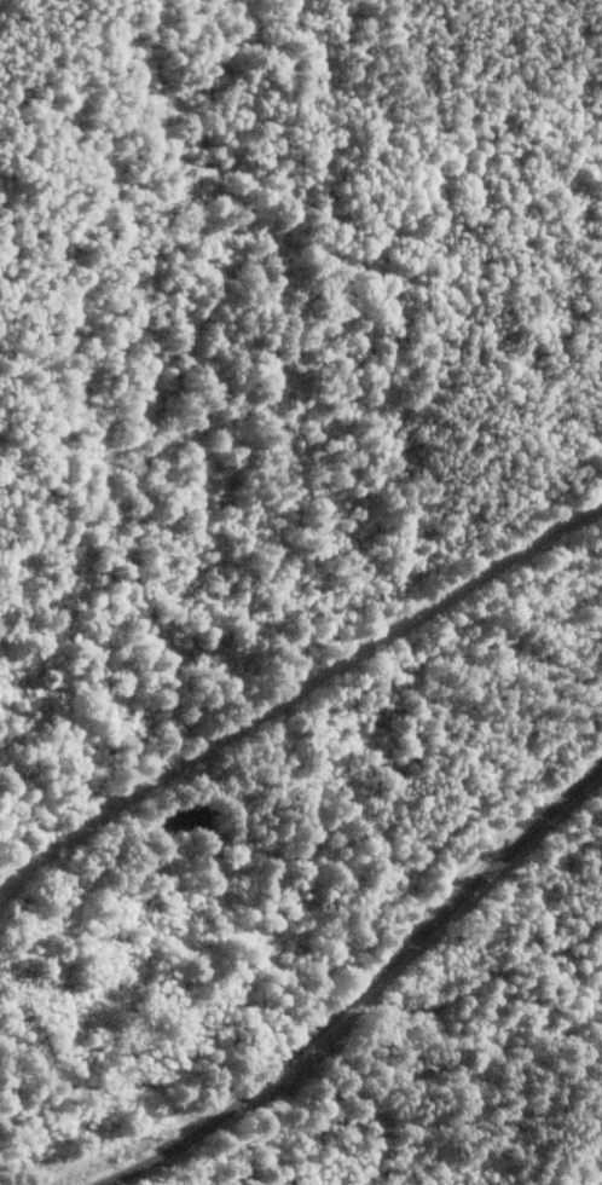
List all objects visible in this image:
road: (335, 972)

